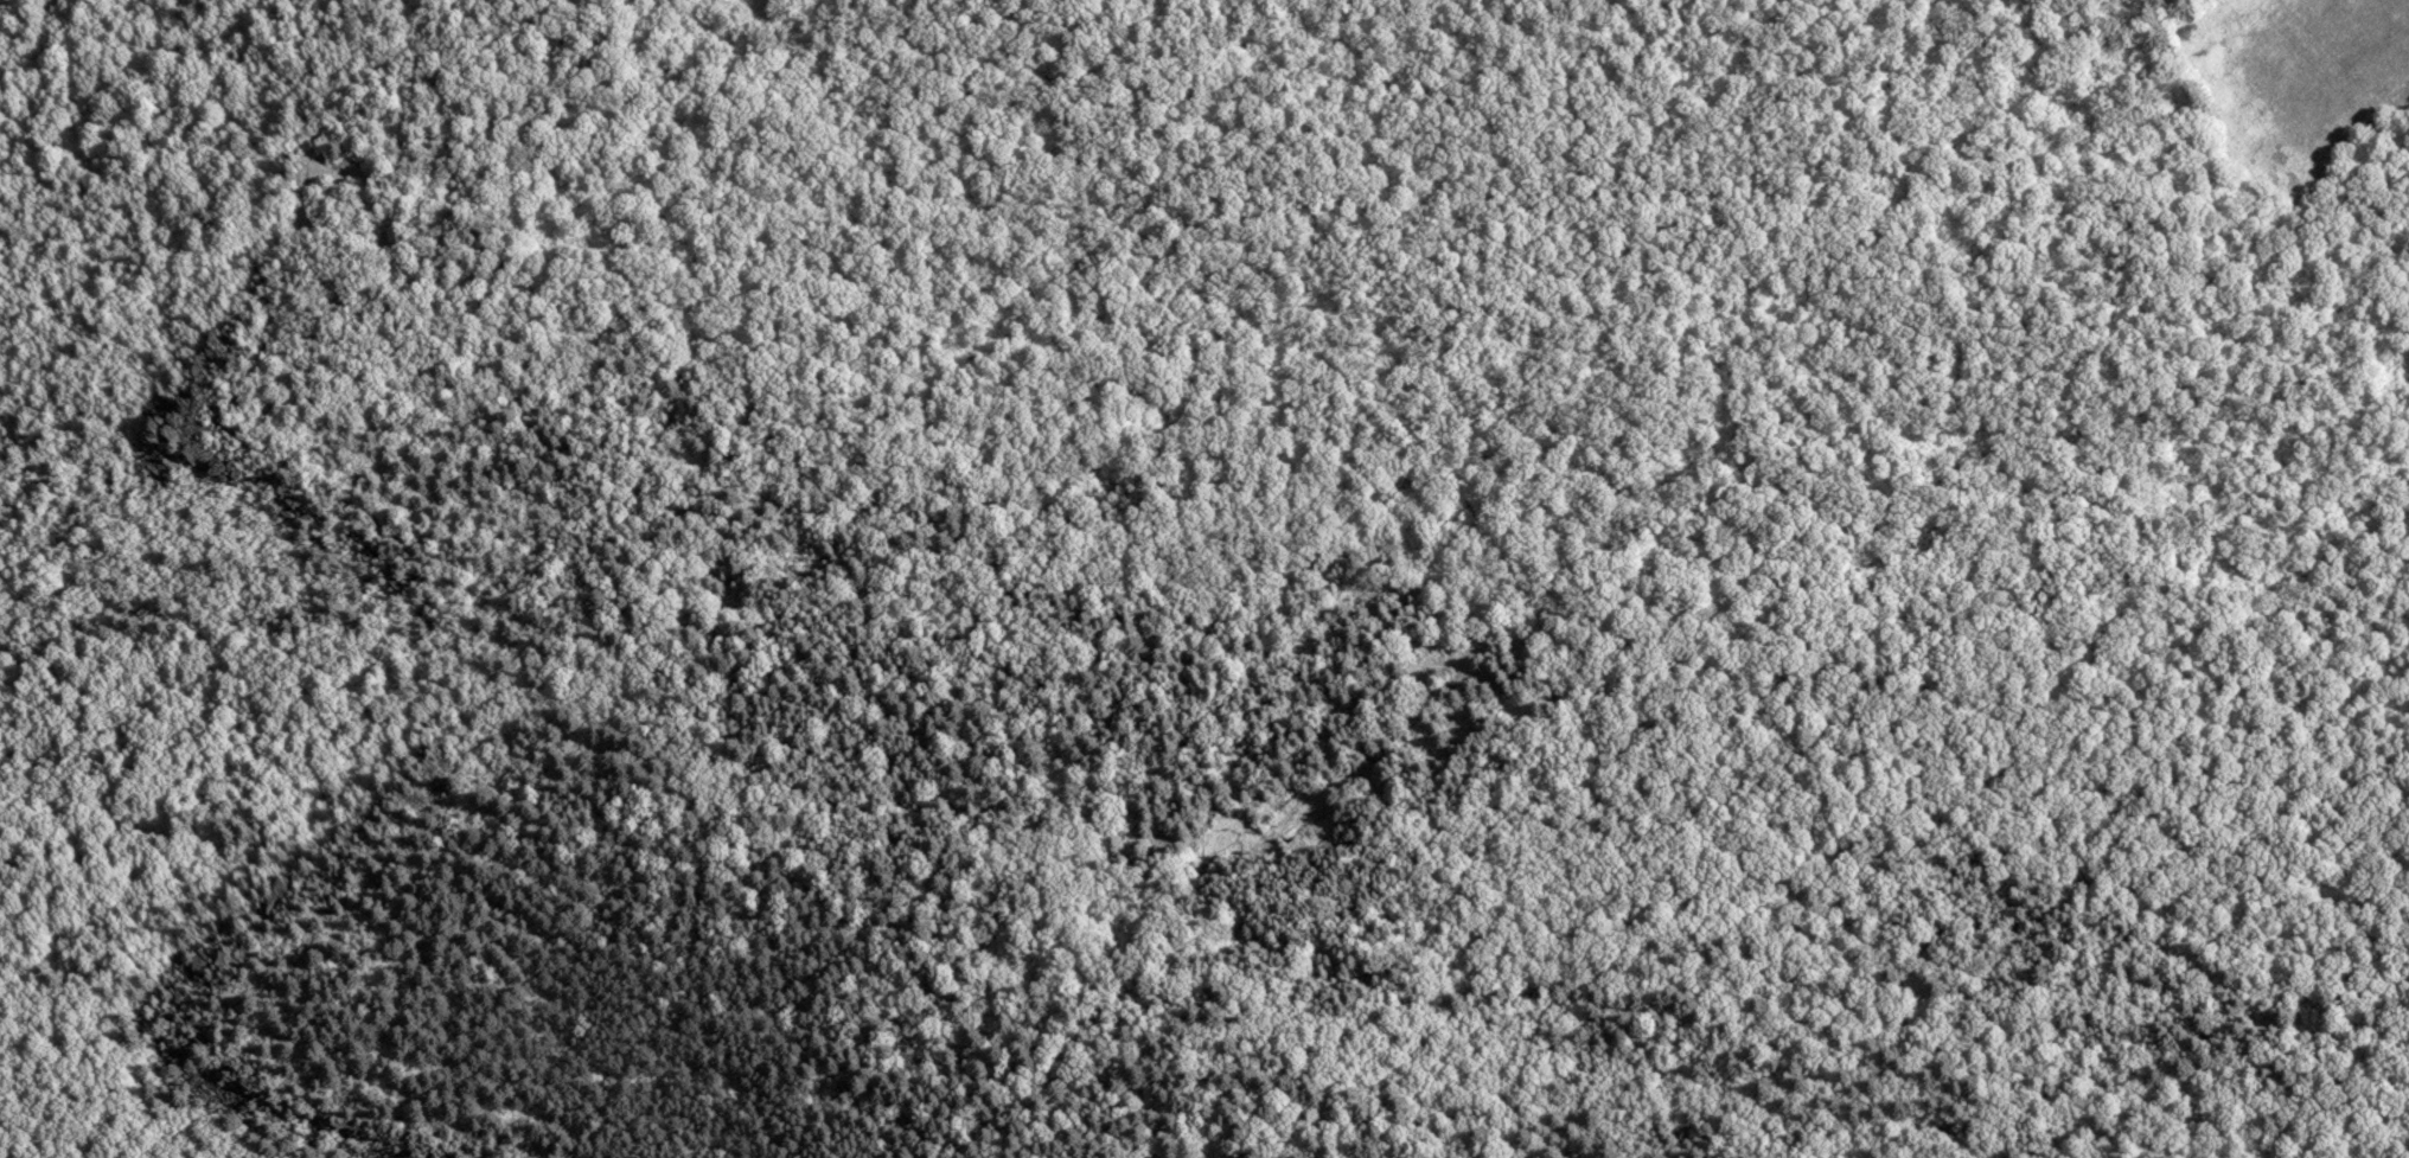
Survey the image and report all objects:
road: (518, 595)

